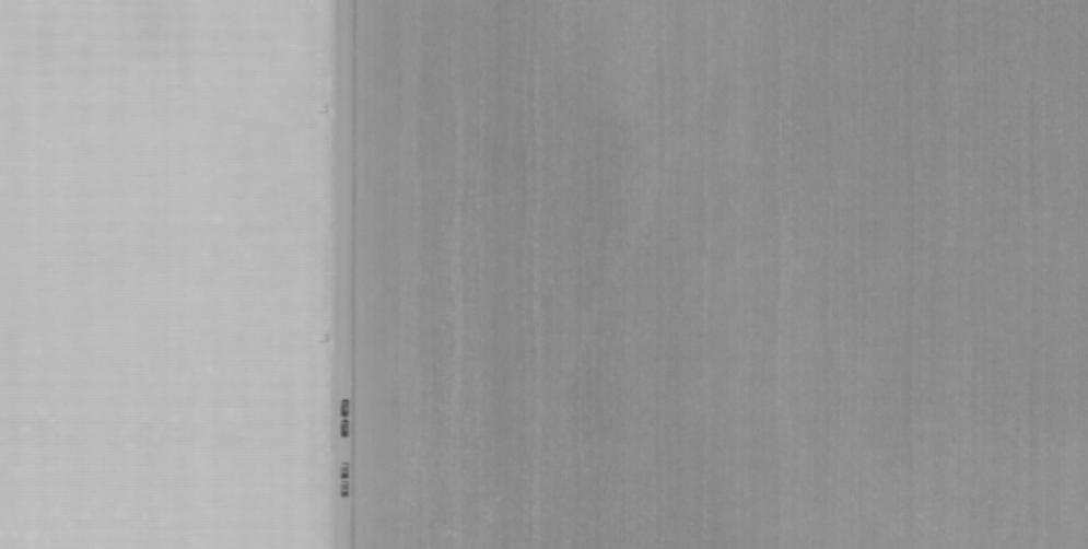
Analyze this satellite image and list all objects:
crop: (155, 273)
road: (355, 274)
crop: (700, 274)

